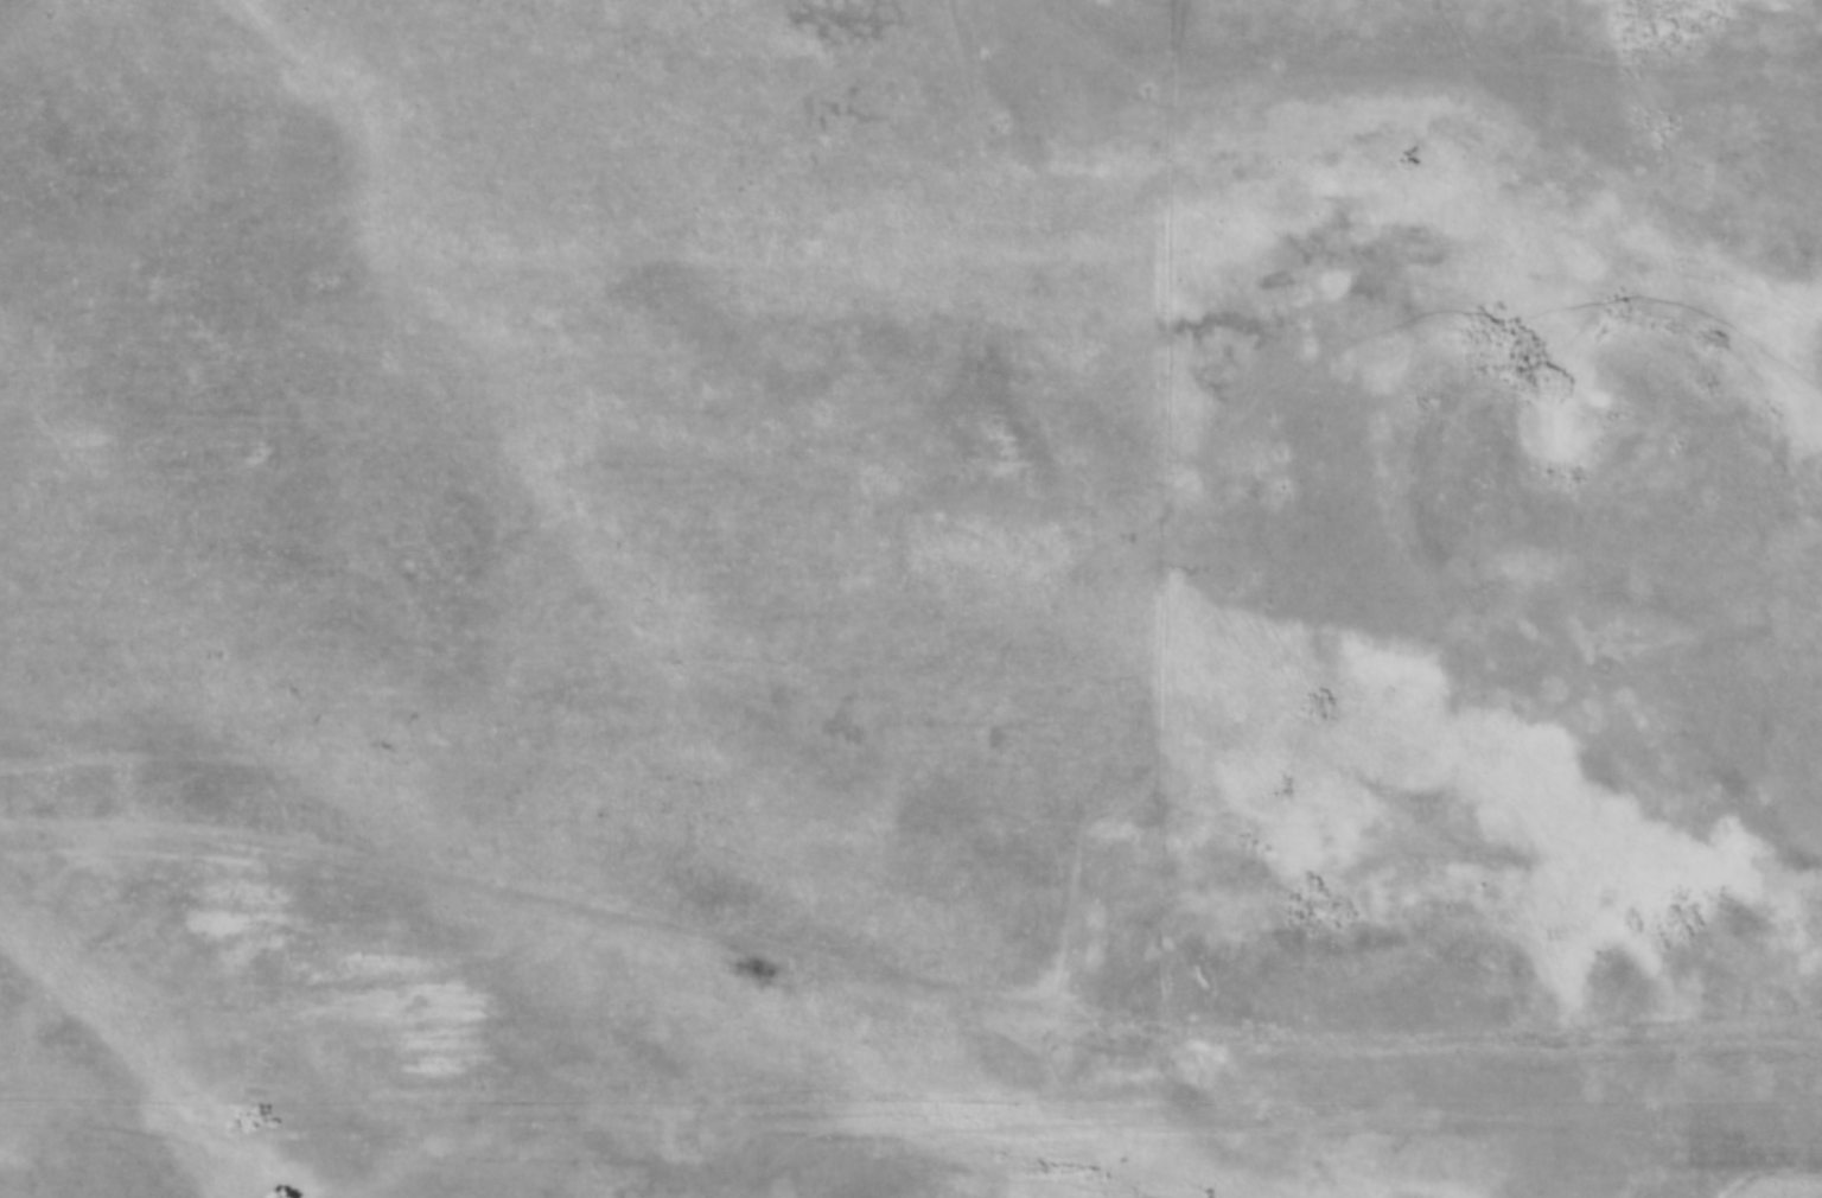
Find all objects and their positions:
road: (1019, 1151)

